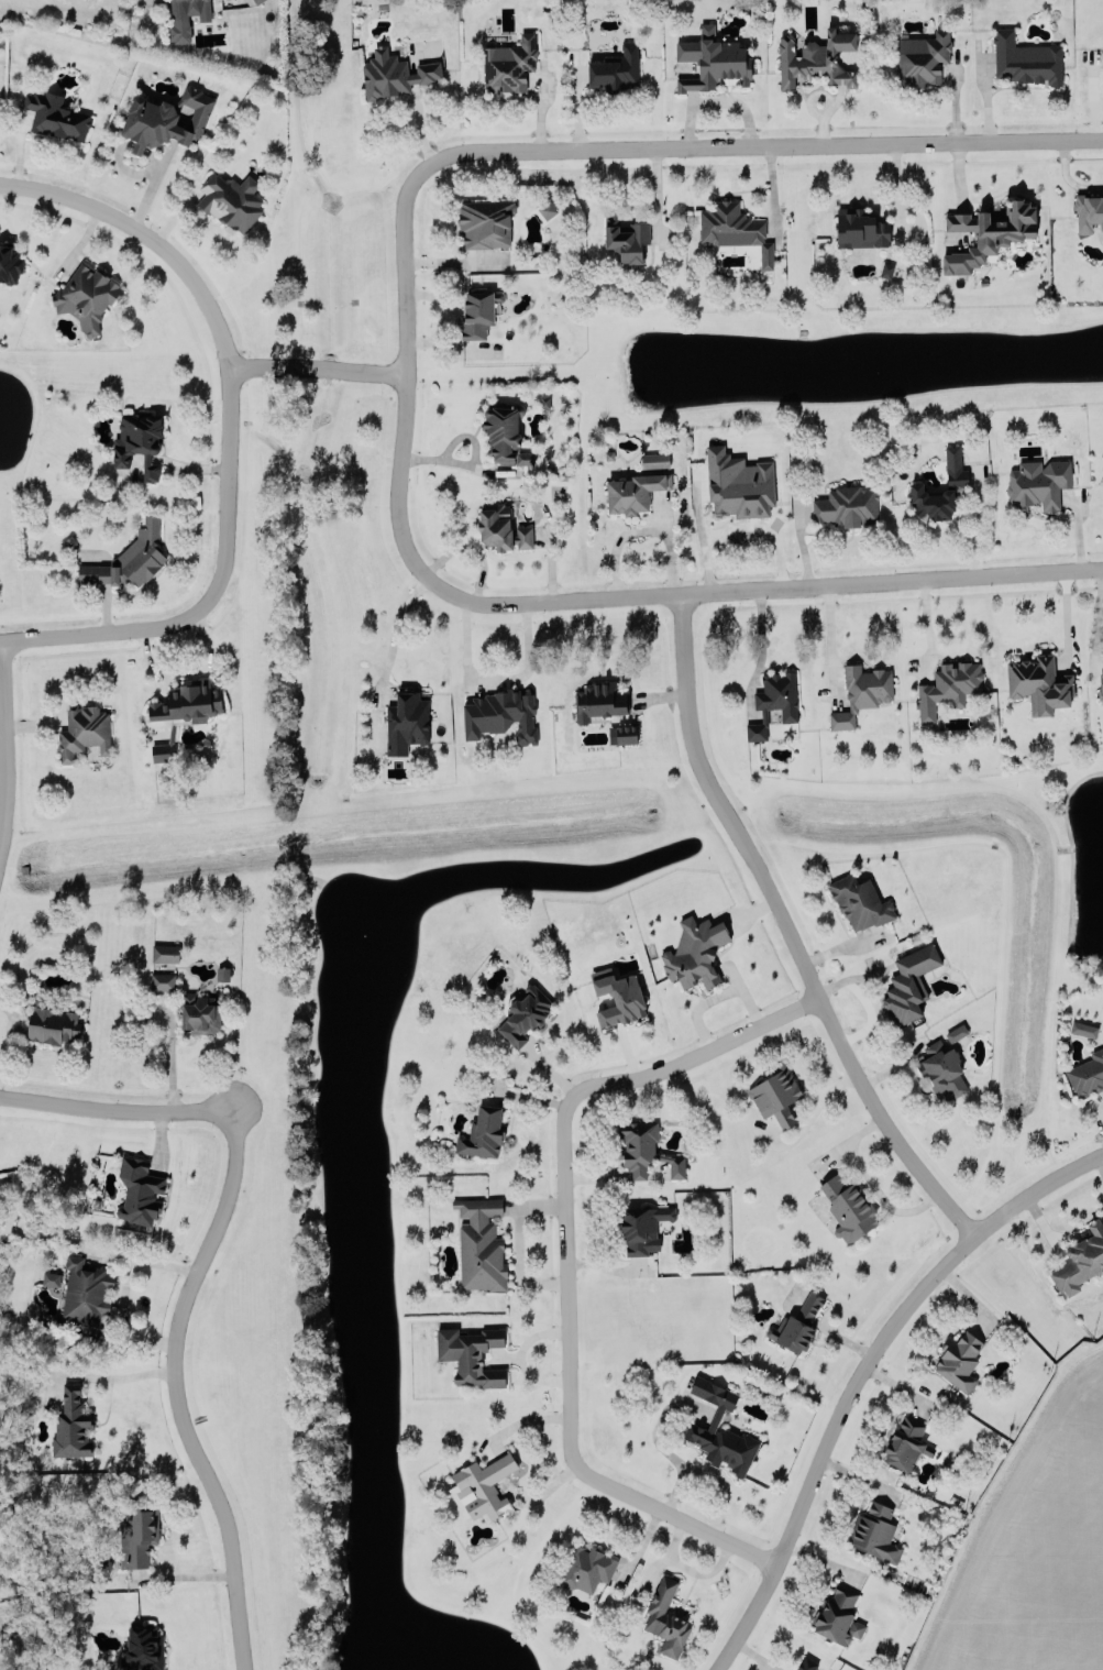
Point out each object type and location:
building: (257, 1)
building: (185, 18)
building: (817, 56)
building: (922, 56)
building: (1102, 56)
building: (1026, 59)
building: (713, 61)
building: (509, 63)
building: (616, 68)
building: (394, 73)
road: (828, 99)
road: (717, 100)
building: (56, 114)
building: (166, 119)
road: (775, 147)
road: (1068, 178)
building: (232, 198)
building: (547, 209)
building: (1089, 212)
building: (486, 220)
building: (732, 226)
building: (860, 227)
building: (989, 231)
building: (625, 237)
building: (10, 263)
building: (86, 296)
building: (479, 311)
road: (221, 341)
road: (406, 345)
road: (315, 370)
building: (504, 430)
building: (139, 442)
building: (525, 457)
building: (655, 460)
building: (738, 482)
building: (958, 483)
building: (1038, 483)
building: (633, 492)
building: (846, 506)
road: (979, 525)
building: (501, 527)
road: (739, 527)
road: (643, 530)
building: (130, 559)
road: (744, 590)
road: (1065, 619)
road: (1096, 623)
road: (395, 626)
road: (95, 633)
road: (831, 636)
road: (761, 639)
road: (499, 675)
building: (1039, 682)
building: (948, 686)
building: (1101, 686)
building: (861, 693)
building: (598, 700)
building: (773, 702)
building: (183, 710)
building: (501, 714)
building: (406, 722)
building: (82, 732)
building: (622, 734)
road: (0, 737)
building: (860, 902)
road: (787, 929)
building: (694, 951)
building: (165, 953)
building: (222, 974)
building: (163, 980)
building: (909, 982)
road: (717, 996)
building: (618, 997)
building: (200, 1013)
building: (523, 1013)
building: (52, 1022)
building: (1083, 1029)
building: (956, 1032)
building: (941, 1068)
building: (1087, 1074)
building: (776, 1095)
road: (808, 1116)
road: (1096, 1119)
building: (483, 1132)
building: (644, 1149)
road: (869, 1182)
building: (139, 1190)
building: (848, 1207)
road: (220, 1222)
building: (642, 1228)
road: (519, 1243)
building: (481, 1244)
road: (567, 1259)
building: (1081, 1261)
building: (51, 1278)
road: (124, 1286)
building: (87, 1295)
building: (796, 1325)
building: (471, 1354)
road: (519, 1354)
building: (959, 1360)
road: (861, 1373)
road: (114, 1374)
building: (71, 1425)
building: (720, 1430)
building: (906, 1443)
building: (482, 1487)
building: (875, 1532)
building: (136, 1534)
building: (586, 1568)
road: (187, 1575)
road: (238, 1606)
building: (838, 1615)
building: (666, 1618)
building: (143, 1648)
building: (807, 1664)

